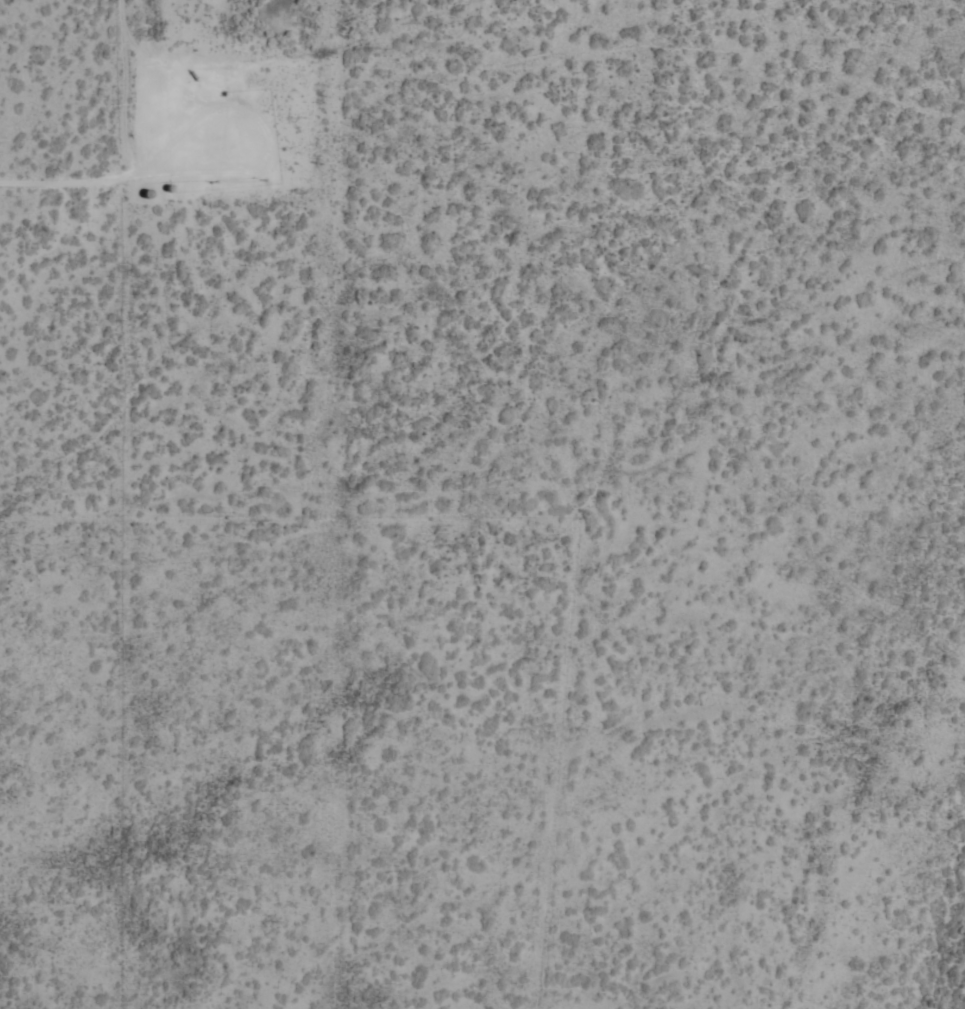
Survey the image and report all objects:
road: (125, 88)
road: (267, 130)
road: (65, 182)

